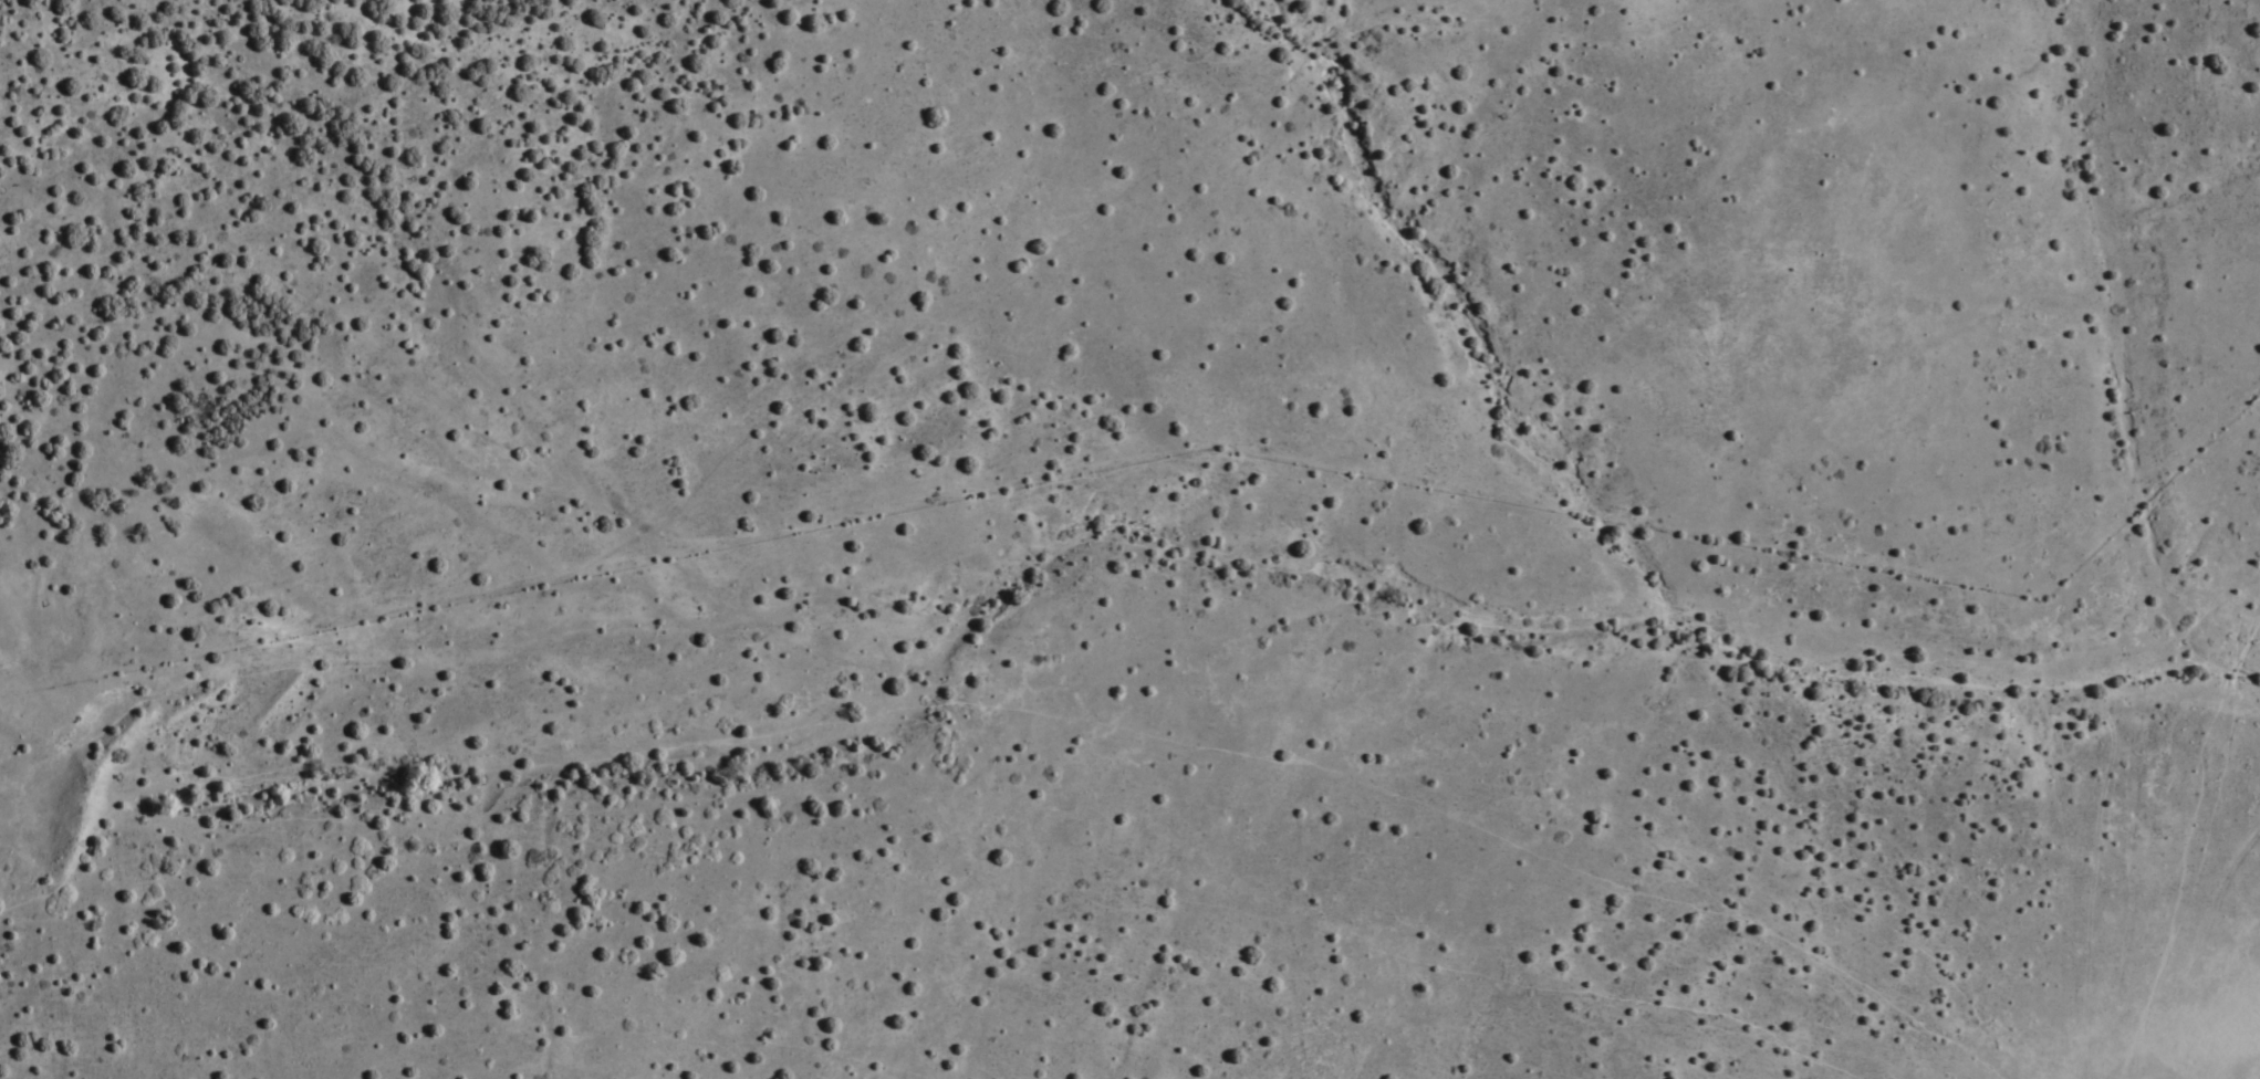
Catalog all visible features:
road: (2214, 621)
road: (354, 931)
road: (2156, 950)

